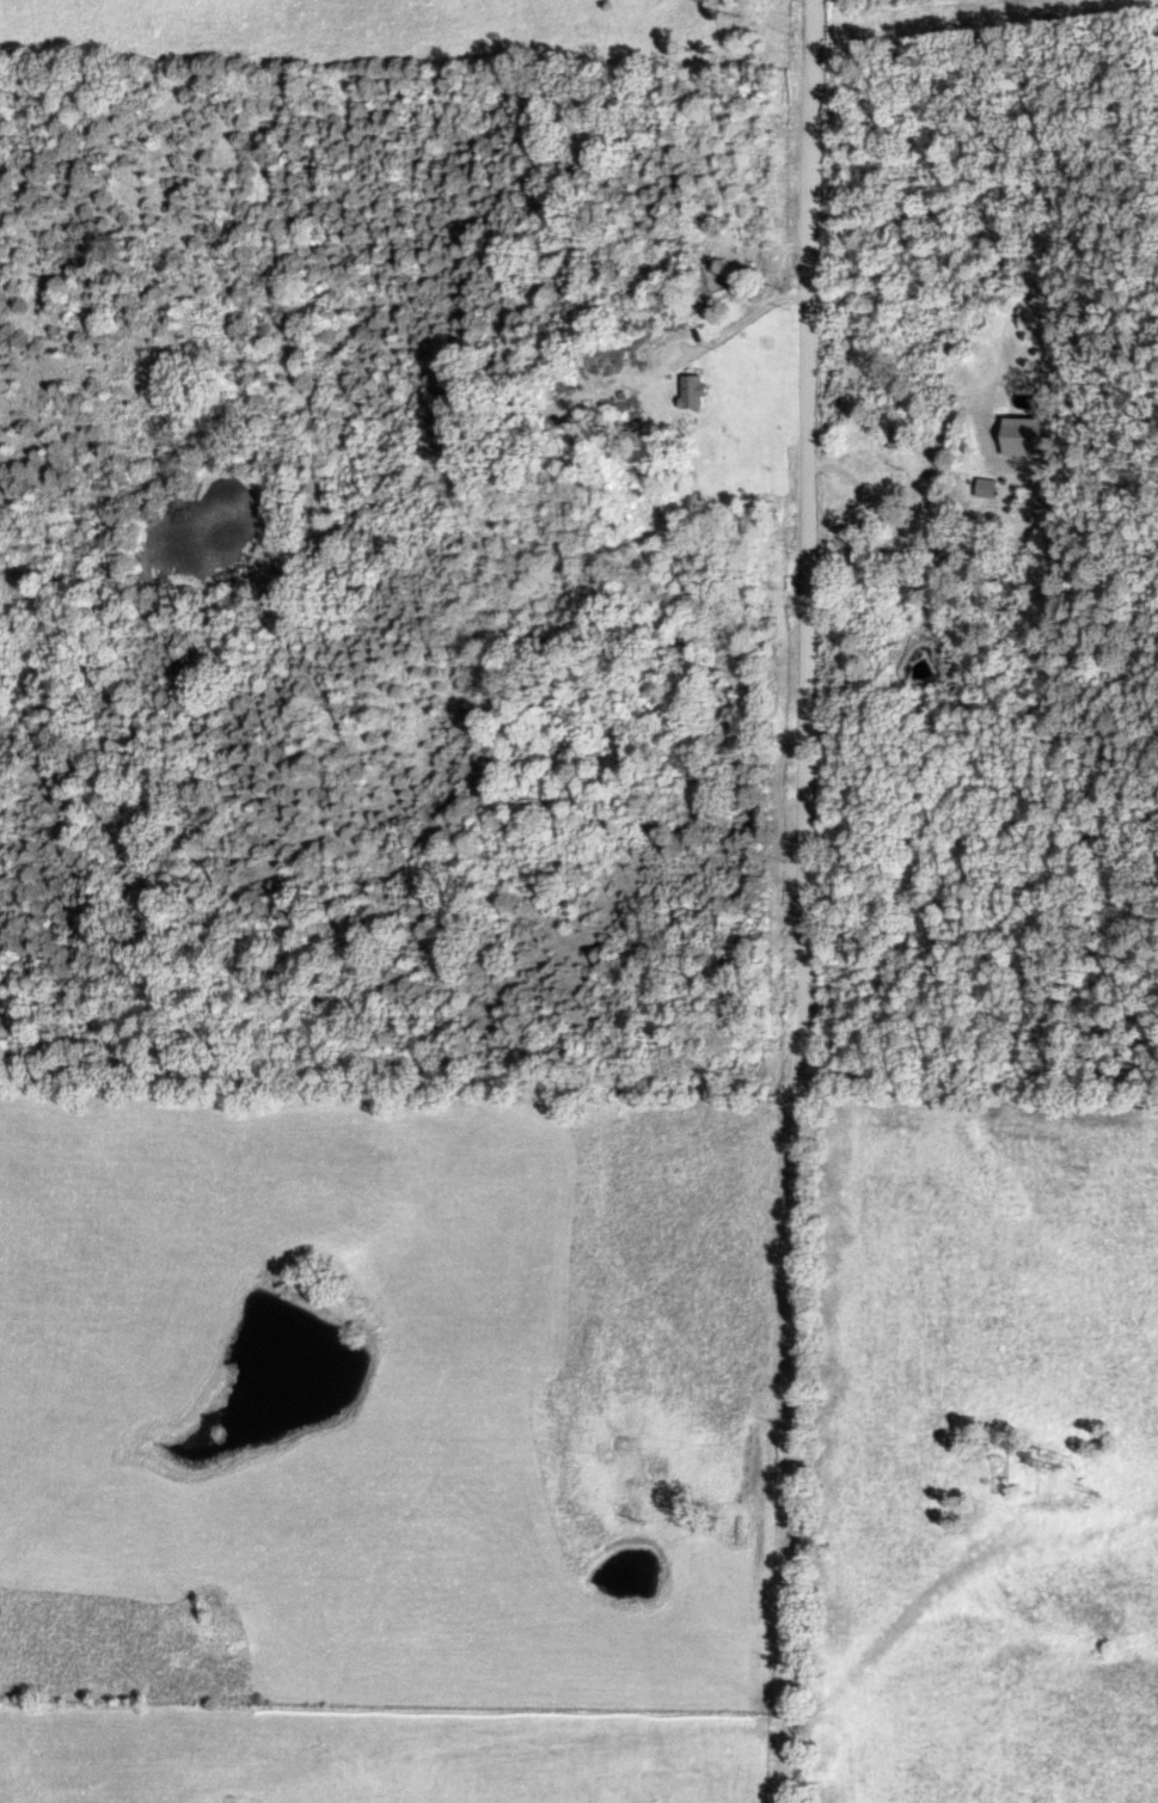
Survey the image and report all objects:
building: (703, 391)
building: (1030, 438)
building: (992, 489)
road: (798, 900)

